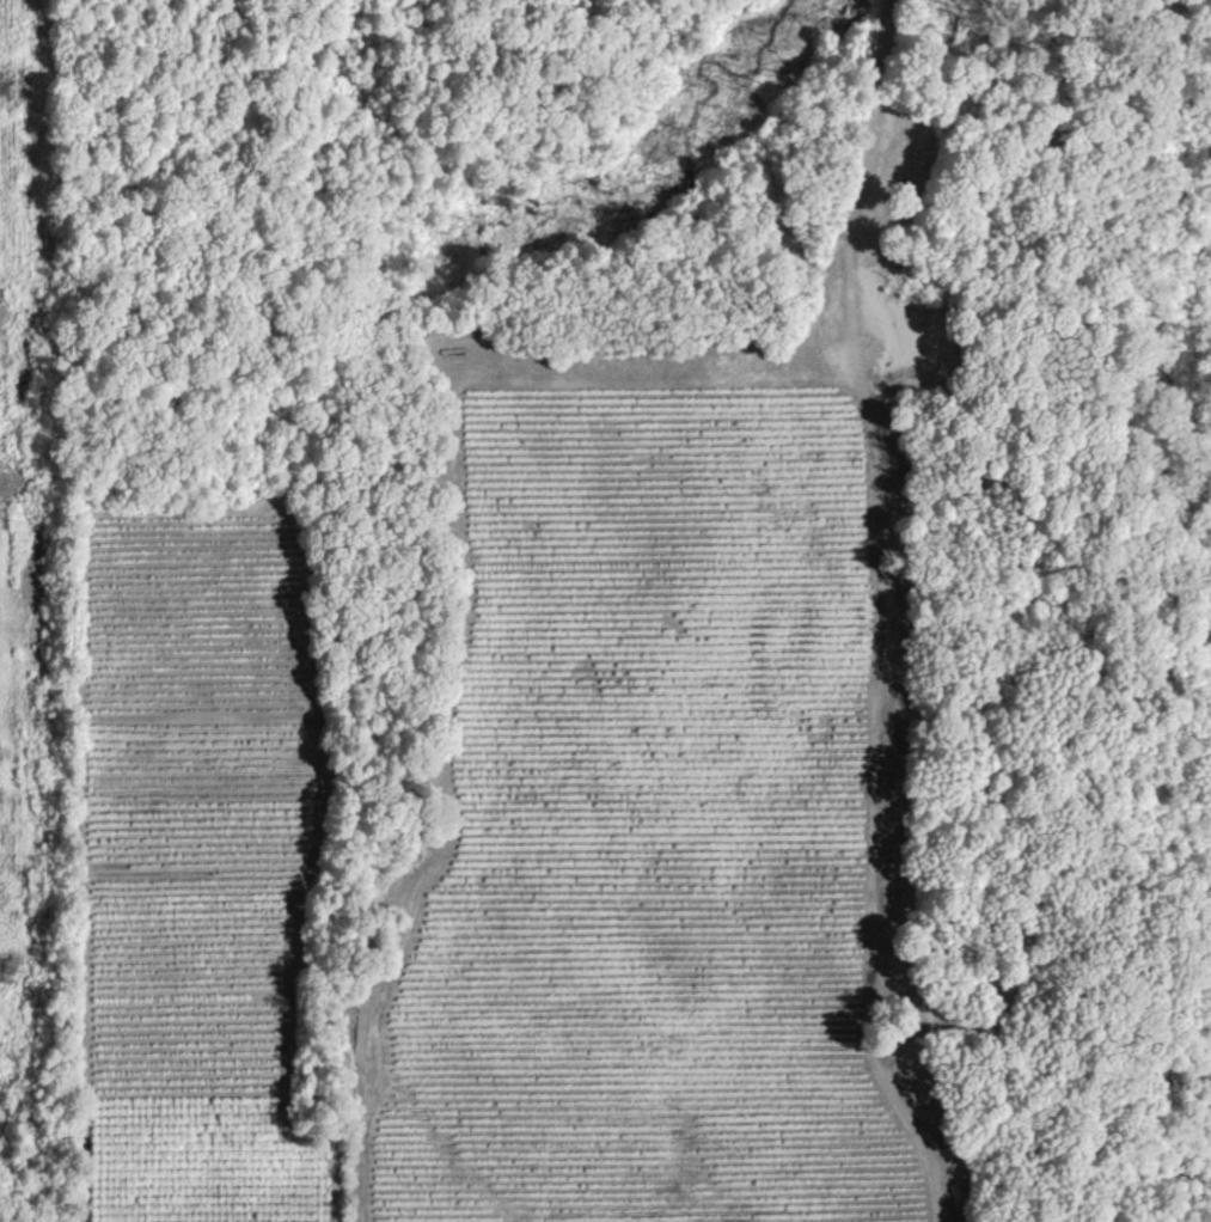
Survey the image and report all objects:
power tower: (0, 967)

